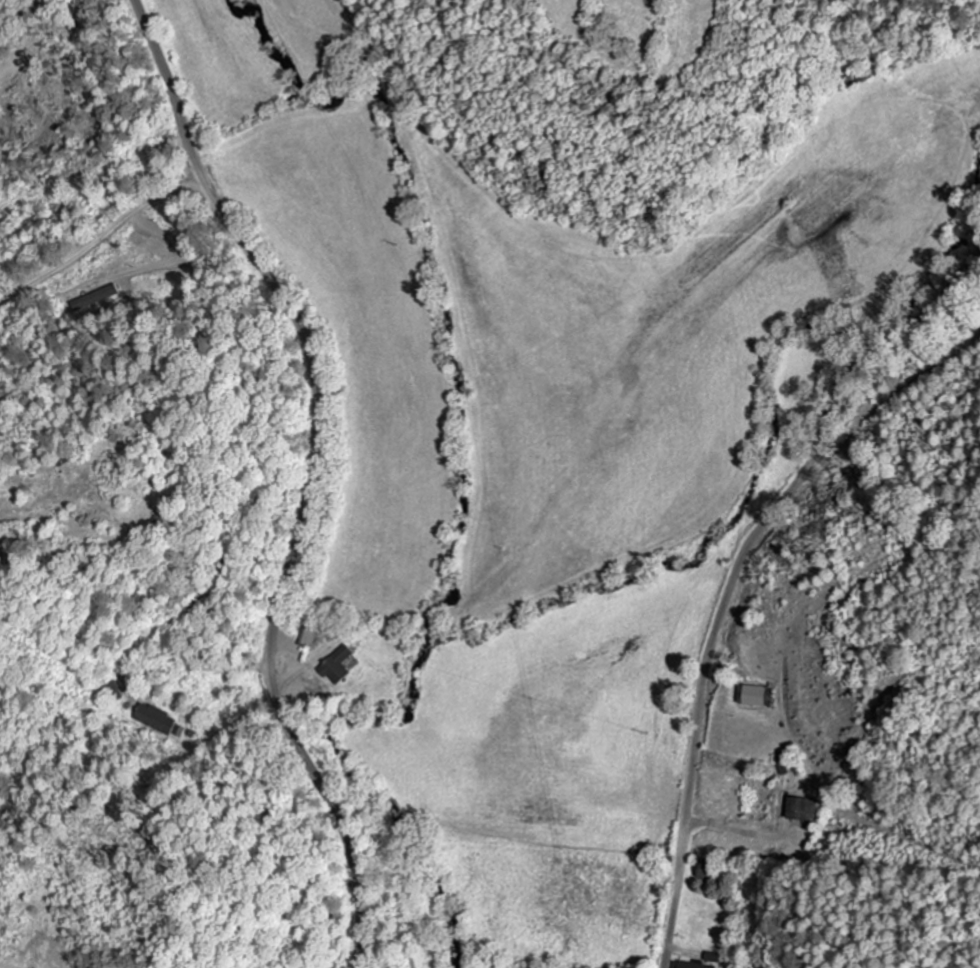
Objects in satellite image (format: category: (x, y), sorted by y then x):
building: (96, 304)
road: (312, 473)
road: (736, 569)
building: (311, 637)
building: (341, 667)
building: (758, 696)
building: (159, 721)
building: (801, 810)
building: (688, 965)

